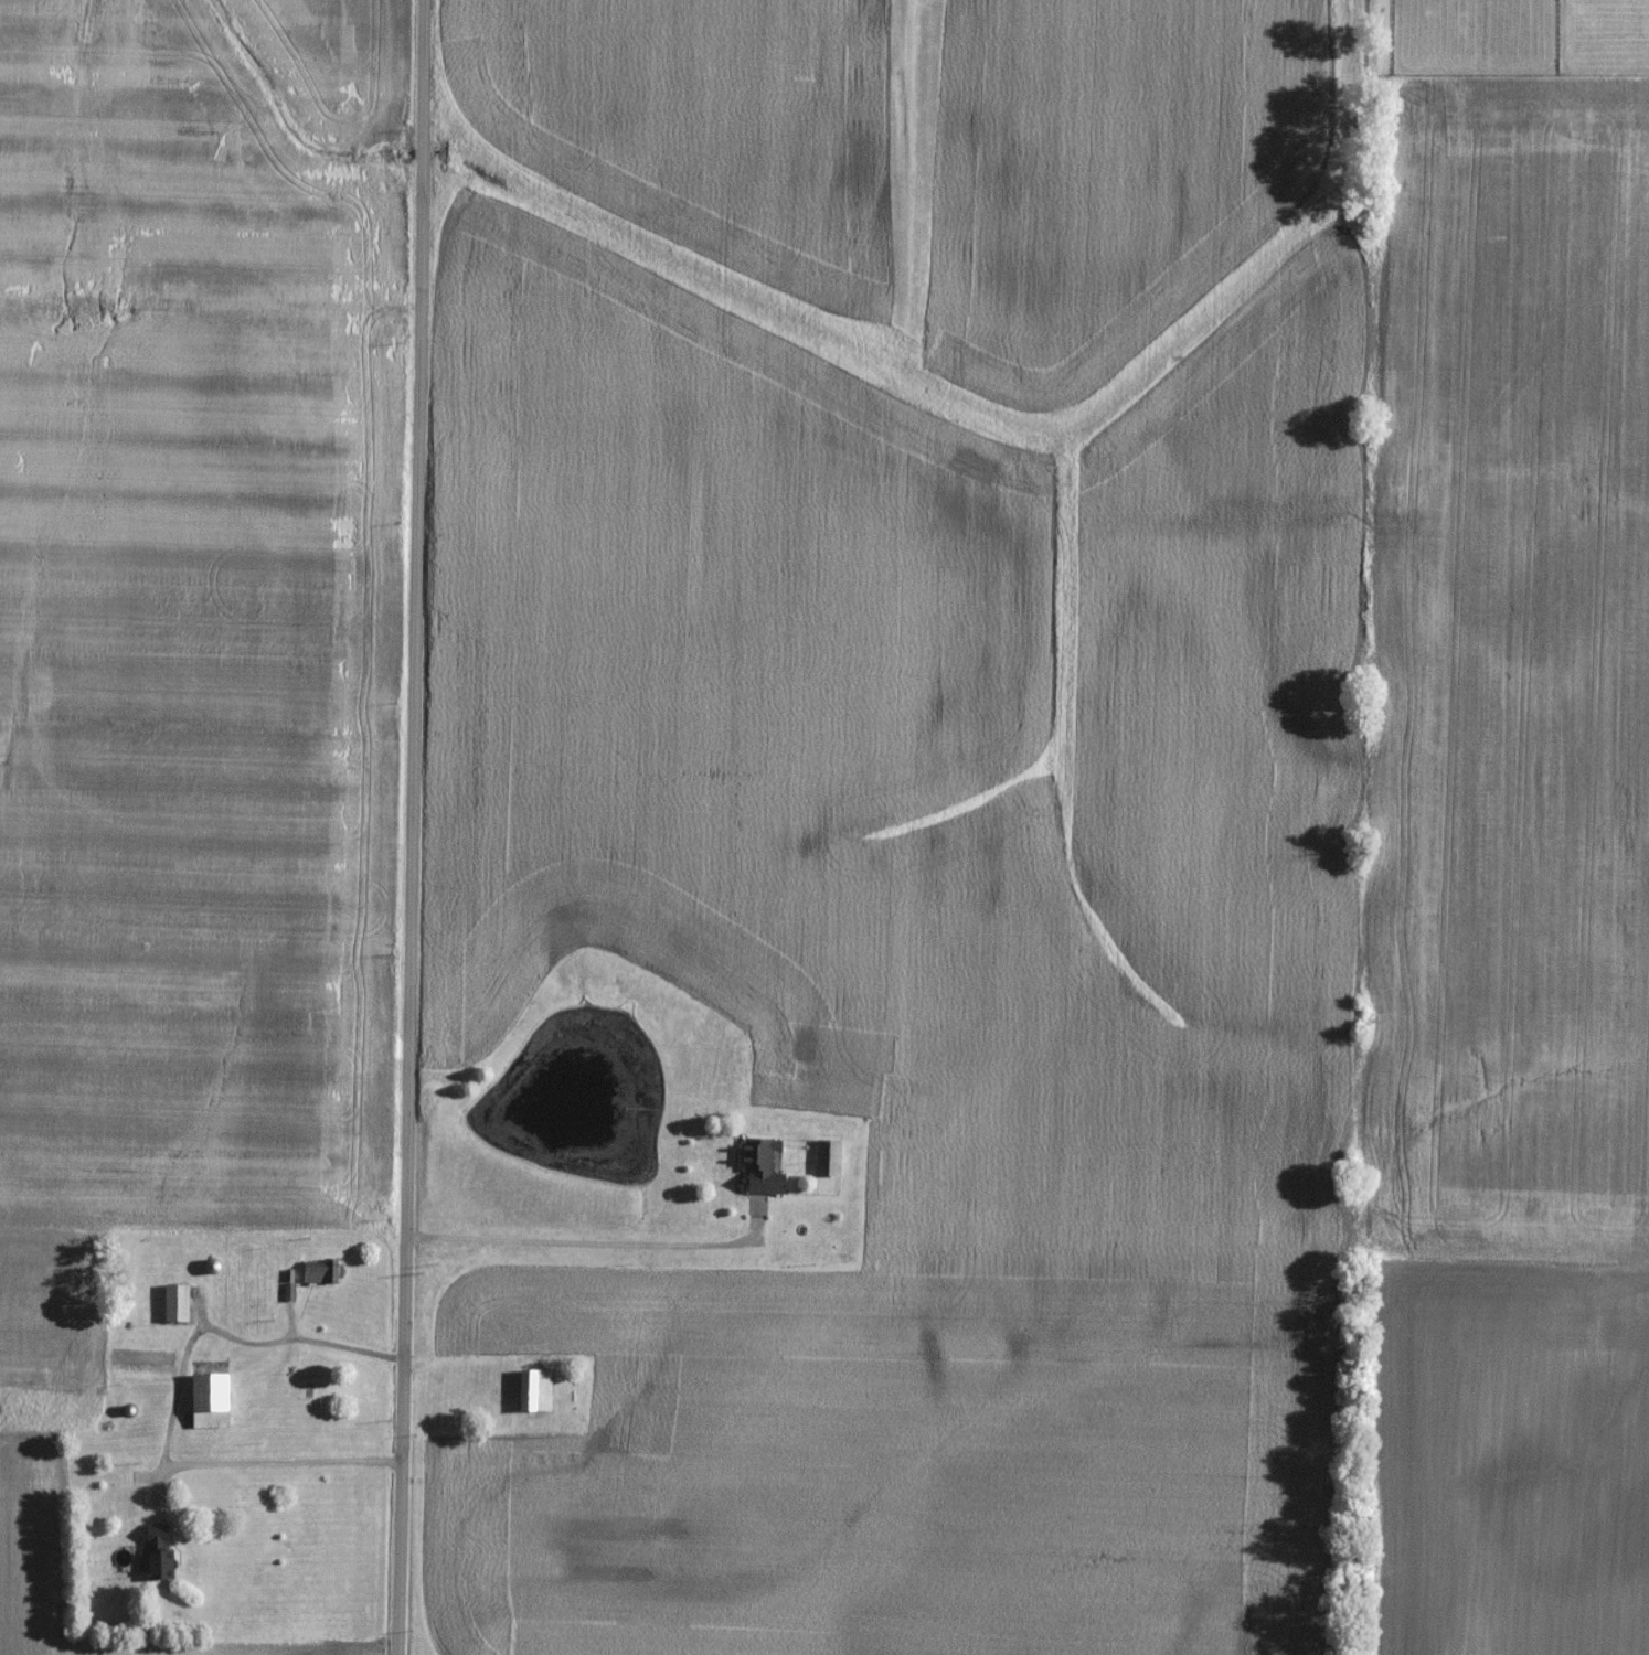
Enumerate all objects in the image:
road: (208, 310)
road: (406, 826)
building: (829, 1161)
building: (764, 1170)
road: (594, 1246)
building: (322, 1274)
building: (177, 1306)
road: (377, 1359)
building: (536, 1394)
building: (211, 1397)
road: (253, 1469)
building: (160, 1557)

